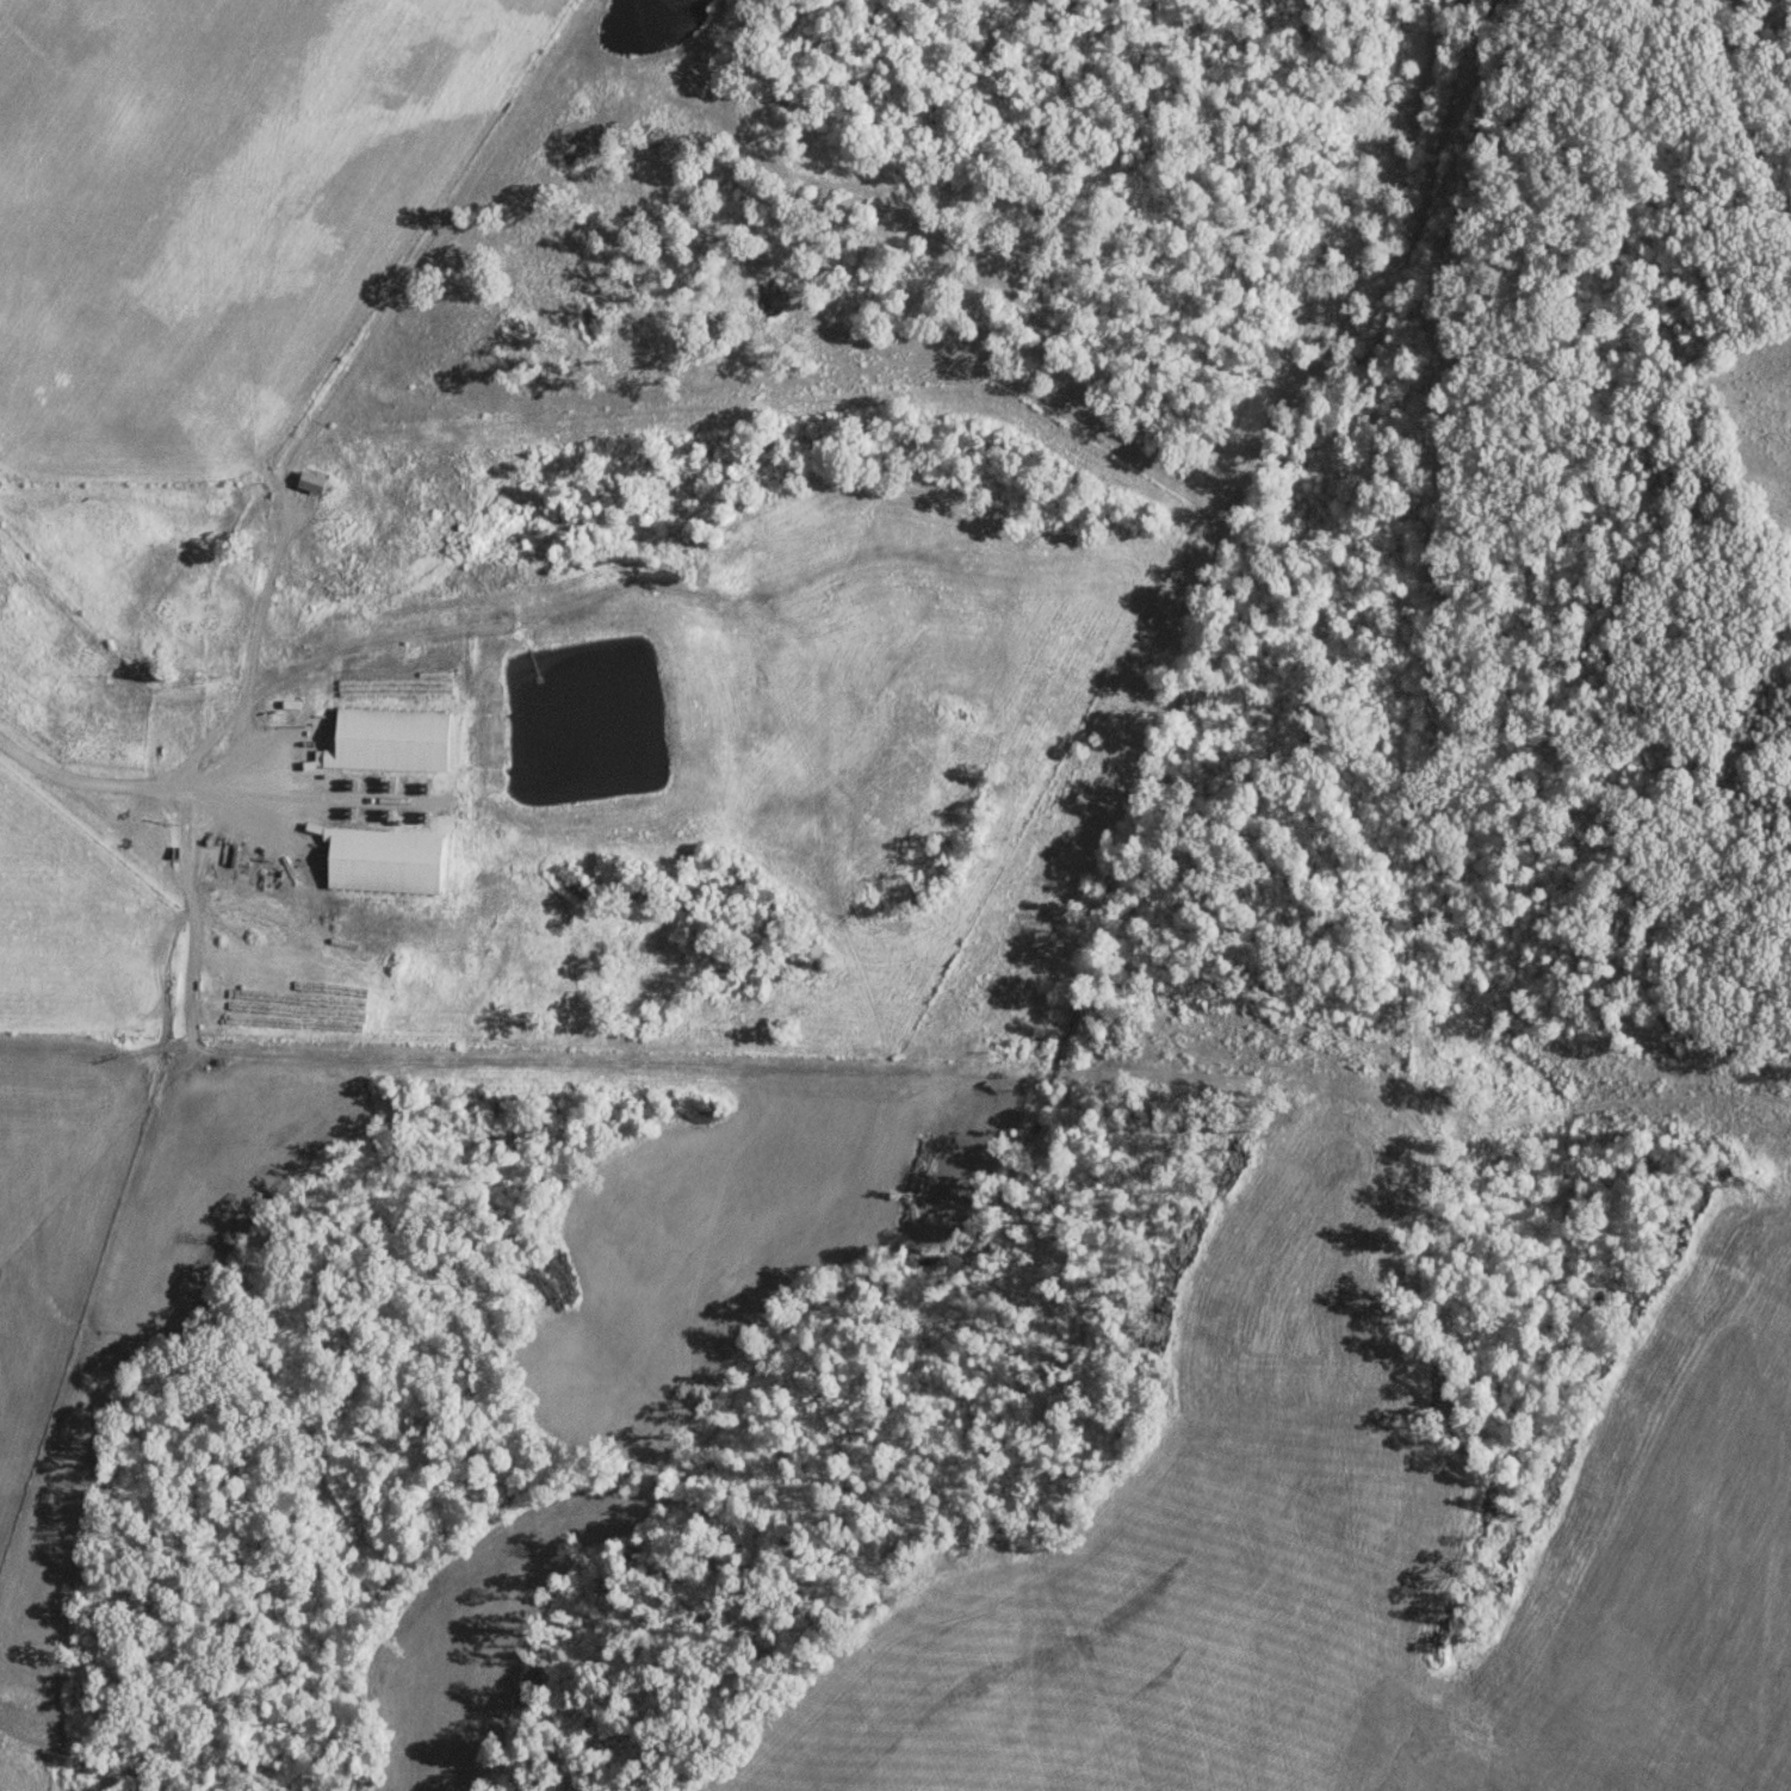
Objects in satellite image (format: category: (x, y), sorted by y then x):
building: (388, 739)
road: (144, 786)
building: (384, 860)
crop: (1114, 1632)

